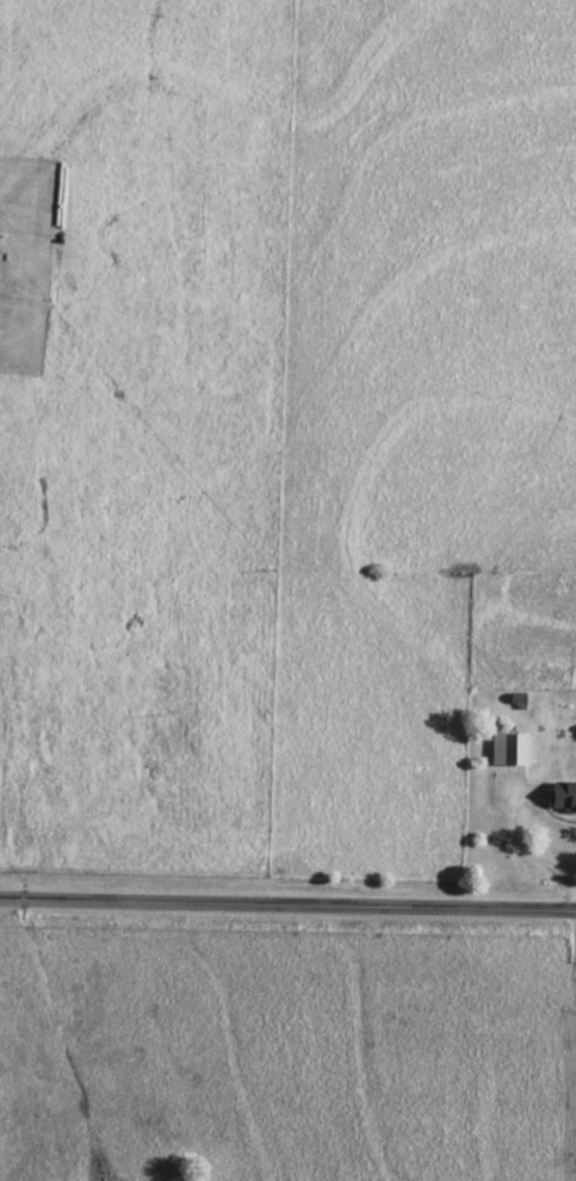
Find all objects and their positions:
building: (545, 672)
building: (564, 796)
road: (522, 843)
road: (287, 905)
road: (575, 1179)

